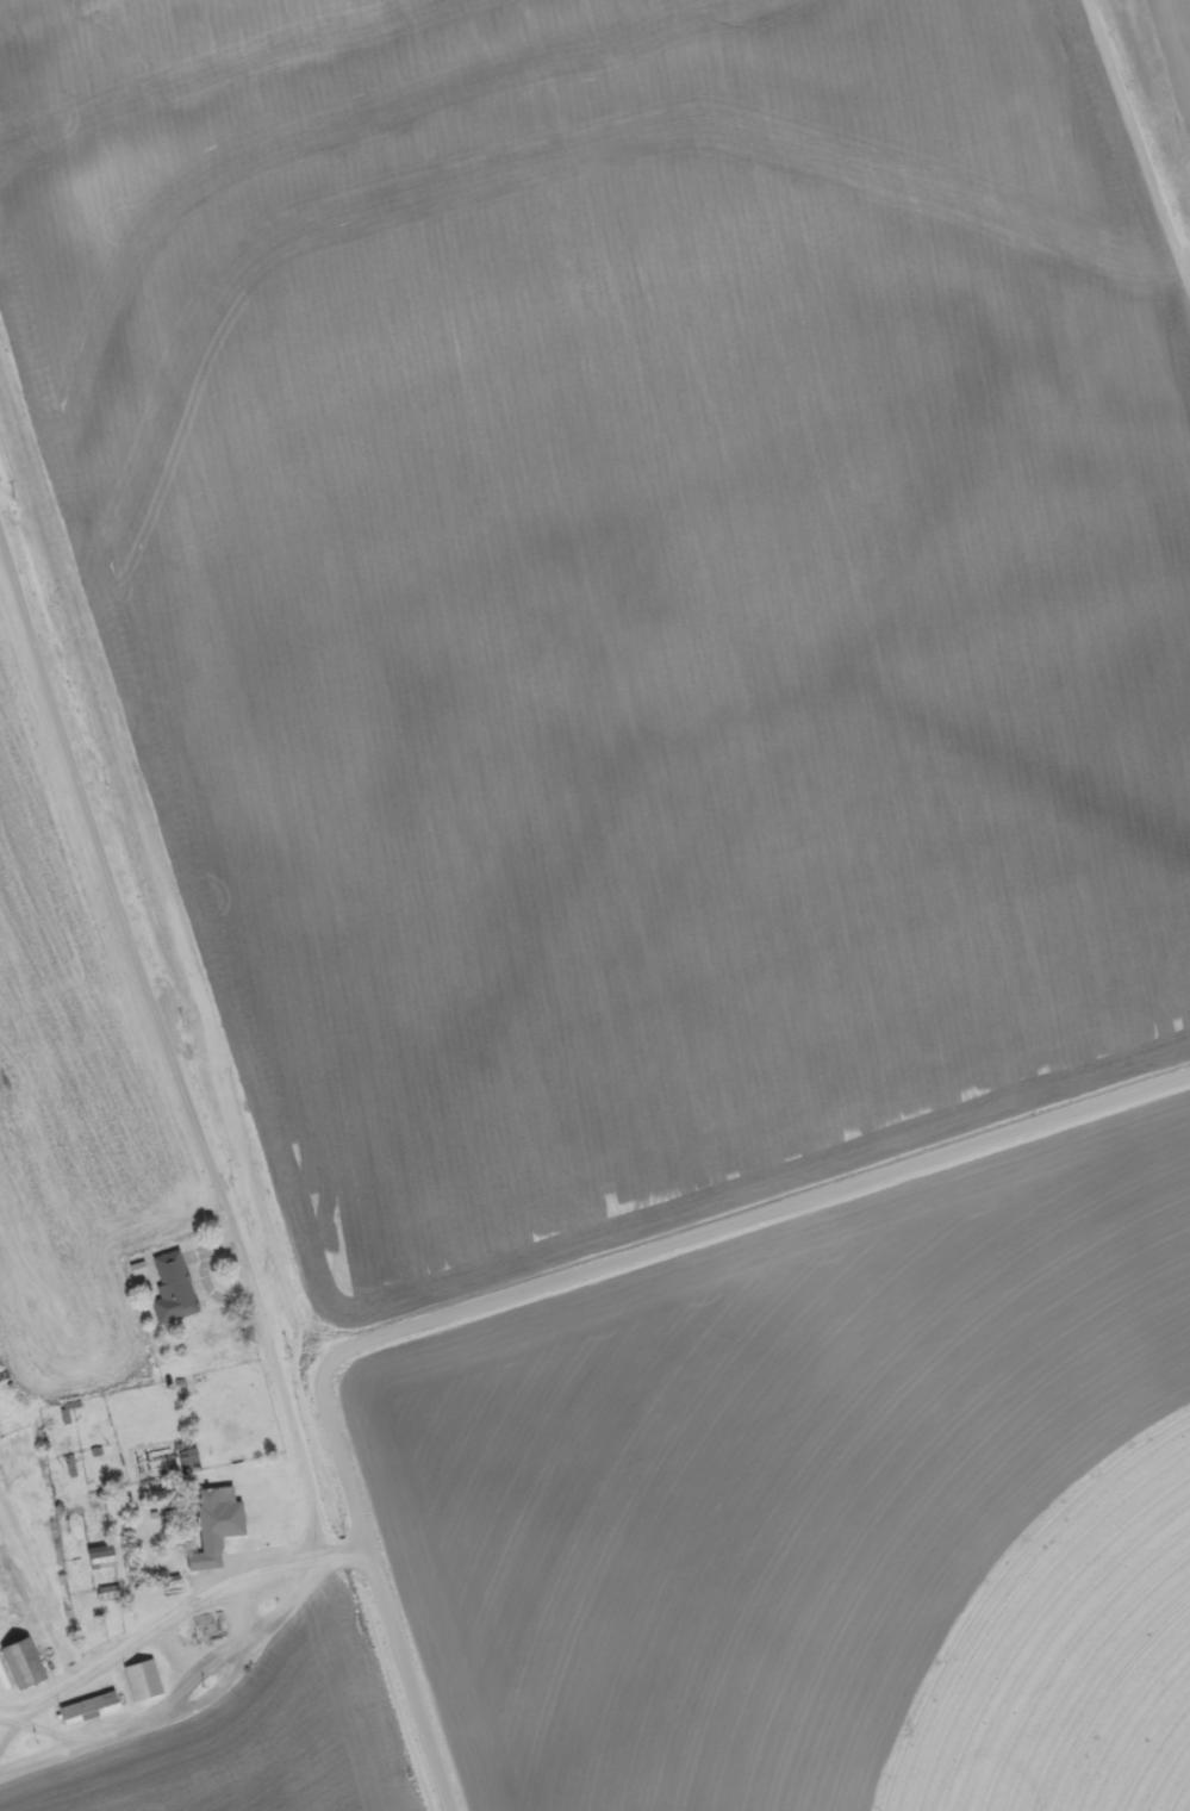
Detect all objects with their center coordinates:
road: (1123, 192)
road: (150, 1003)
road: (643, 1252)
building: (170, 1288)
building: (217, 1514)
building: (96, 1558)
building: (106, 1594)
building: (21, 1663)
building: (141, 1681)
road: (181, 1681)
road: (419, 1701)
building: (86, 1710)

